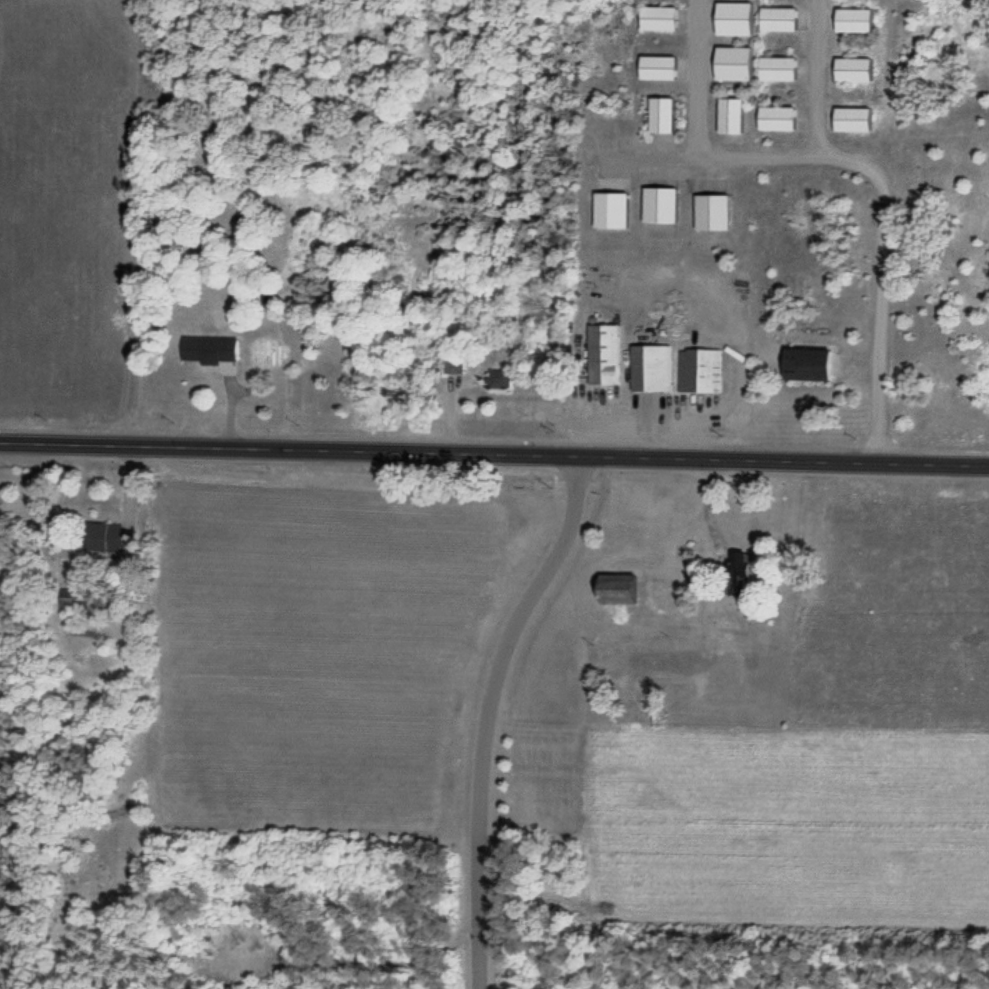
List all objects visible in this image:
building: (662, 20)
building: (733, 20)
building: (782, 21)
building: (851, 22)
building: (738, 65)
building: (662, 70)
building: (781, 71)
building: (851, 71)
building: (664, 117)
building: (733, 117)
building: (780, 120)
building: (854, 121)
building: (663, 207)
building: (614, 212)
building: (715, 214)
building: (211, 351)
building: (604, 356)
building: (814, 366)
building: (455, 367)
building: (651, 369)
building: (700, 372)
building: (500, 379)
road: (494, 455)
building: (110, 538)
building: (745, 565)
building: (624, 590)
building: (670, 595)
road: (487, 713)

